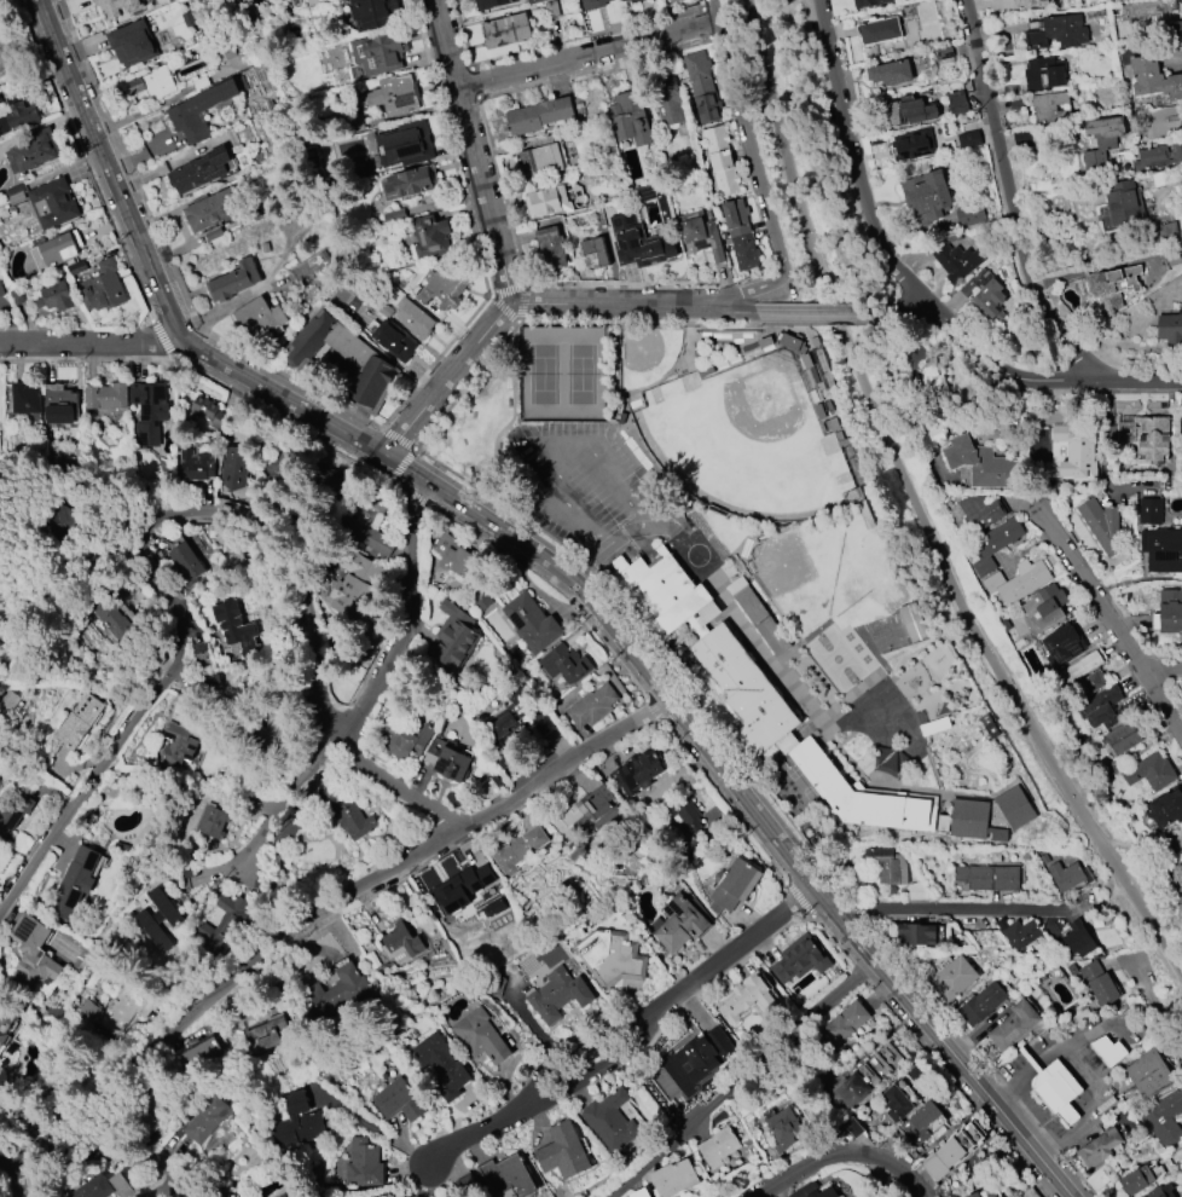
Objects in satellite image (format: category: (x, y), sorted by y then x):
building: (624, 0)
building: (1068, 0)
building: (533, 1)
building: (635, 1)
building: (674, 1)
building: (868, 2)
building: (1029, 2)
building: (491, 4)
building: (592, 4)
building: (1181, 4)
building: (117, 6)
building: (551, 8)
building: (372, 13)
road: (711, 15)
building: (1175, 28)
building: (505, 30)
road: (713, 30)
building: (880, 31)
road: (460, 33)
building: (1058, 33)
road: (585, 36)
building: (132, 44)
building: (224, 51)
building: (379, 51)
building: (6, 53)
building: (944, 53)
road: (589, 56)
building: (697, 70)
building: (888, 74)
building: (1044, 74)
building: (1152, 77)
road: (471, 81)
building: (152, 82)
building: (199, 82)
road: (497, 89)
building: (398, 94)
building: (665, 94)
building: (956, 103)
building: (707, 104)
building: (1049, 108)
building: (197, 111)
building: (904, 112)
building: (22, 115)
building: (539, 116)
building: (630, 117)
building: (1021, 138)
building: (968, 139)
building: (1100, 143)
building: (911, 144)
building: (404, 145)
building: (715, 145)
road: (451, 149)
road: (473, 149)
building: (33, 150)
building: (1158, 156)
road: (86, 160)
building: (540, 160)
road: (757, 160)
road: (856, 167)
building: (203, 170)
building: (725, 179)
building: (409, 183)
building: (926, 196)
building: (554, 199)
building: (52, 202)
road: (1008, 202)
building: (1124, 206)
building: (213, 209)
building: (969, 214)
building: (735, 218)
building: (701, 233)
building: (430, 236)
building: (639, 243)
building: (550, 248)
building: (56, 250)
building: (744, 251)
building: (593, 253)
road: (819, 259)
road: (168, 262)
building: (956, 262)
building: (75, 267)
building: (233, 281)
road: (627, 284)
road: (749, 287)
building: (1111, 287)
building: (102, 288)
road: (508, 291)
building: (440, 293)
building: (985, 295)
building: (54, 296)
road: (508, 300)
road: (725, 300)
road: (525, 302)
road: (731, 308)
road: (505, 310)
road: (817, 312)
road: (909, 312)
building: (257, 316)
building: (413, 318)
road: (911, 319)
road: (822, 322)
road: (602, 324)
road: (518, 325)
building: (1170, 328)
road: (796, 329)
road: (723, 330)
road: (728, 336)
road: (166, 340)
building: (394, 341)
building: (794, 341)
road: (92, 347)
road: (734, 348)
road: (974, 355)
park: (647, 358)
road: (89, 359)
building: (346, 359)
road: (438, 363)
road: (619, 363)
road: (676, 368)
road: (1009, 374)
park: (562, 375)
building: (933, 380)
road: (1142, 380)
road: (468, 388)
road: (1096, 391)
building: (106, 397)
building: (25, 398)
building: (59, 404)
road: (283, 405)
building: (149, 410)
building: (208, 412)
road: (517, 416)
road: (518, 416)
road: (285, 421)
building: (1181, 423)
building: (1145, 436)
road: (527, 438)
road: (400, 439)
road: (1107, 439)
road: (579, 441)
road: (612, 441)
park: (747, 444)
building: (1076, 451)
building: (960, 452)
building: (195, 464)
road: (405, 464)
building: (279, 465)
building: (234, 467)
building: (993, 469)
road: (462, 476)
building: (326, 485)
road: (400, 485)
parking lot: (589, 487)
road: (419, 498)
building: (1149, 510)
building: (979, 513)
road: (164, 517)
road: (1055, 520)
building: (367, 524)
building: (1101, 525)
building: (993, 543)
building: (1161, 549)
building: (451, 554)
building: (185, 560)
road: (590, 562)
park: (830, 574)
building: (1015, 580)
building: (353, 584)
road: (556, 585)
road: (615, 588)
road: (1101, 589)
building: (481, 601)
building: (1047, 606)
building: (1167, 612)
building: (112, 615)
building: (759, 615)
road: (410, 619)
building: (531, 623)
road: (1112, 624)
building: (237, 629)
building: (1, 632)
building: (453, 637)
building: (1060, 646)
road: (1166, 655)
road: (1146, 663)
building: (564, 664)
building: (1076, 669)
road: (1161, 669)
road: (83, 683)
building: (1085, 686)
building: (767, 700)
building: (8, 701)
building: (592, 705)
building: (1101, 707)
road: (657, 710)
road: (683, 711)
building: (516, 716)
building: (79, 719)
building: (935, 724)
road: (725, 735)
building: (1118, 739)
building: (405, 740)
road: (1038, 742)
building: (176, 745)
building: (450, 758)
building: (638, 773)
building: (1149, 773)
road: (729, 802)
road: (284, 804)
building: (1016, 808)
building: (1164, 808)
building: (589, 810)
building: (13, 811)
building: (685, 815)
building: (348, 816)
building: (972, 819)
building: (212, 821)
road: (799, 833)
building: (286, 834)
building: (516, 849)
road: (1136, 850)
road: (1172, 861)
building: (886, 864)
building: (1178, 867)
building: (1064, 875)
building: (985, 878)
building: (74, 883)
building: (732, 885)
building: (462, 889)
road: (1111, 892)
road: (801, 900)
road: (317, 907)
road: (854, 907)
building: (493, 908)
road: (948, 908)
road: (1082, 909)
building: (158, 918)
building: (224, 920)
building: (677, 924)
building: (919, 933)
building: (1020, 933)
building: (1078, 939)
road: (835, 941)
building: (400, 944)
road: (753, 952)
road: (864, 952)
building: (33, 953)
building: (610, 956)
building: (800, 959)
road: (862, 972)
building: (952, 977)
building: (1095, 982)
building: (338, 993)
building: (557, 994)
road: (927, 995)
building: (746, 996)
road: (1157, 1002)
building: (981, 1004)
building: (118, 1007)
building: (842, 1022)
building: (5, 1023)
building: (1013, 1025)
building: (266, 1034)
building: (481, 1036)
road: (627, 1040)
road: (922, 1043)
building: (1107, 1051)
building: (198, 1052)
building: (442, 1066)
road: (1025, 1071)
building: (1148, 1074)
building: (864, 1077)
road: (743, 1080)
road: (1085, 1080)
building: (1056, 1091)
building: (900, 1094)
building: (399, 1100)
road: (1024, 1112)
building: (208, 1118)
building: (1164, 1118)
building: (608, 1120)
building: (921, 1122)
building: (297, 1123)
road: (375, 1128)
building: (782, 1128)
building: (718, 1147)
building: (1099, 1149)
building: (562, 1151)
building: (950, 1151)
road: (1009, 1152)
road: (847, 1155)
road: (129, 1157)
building: (363, 1163)
road: (1078, 1174)
building: (1102, 1175)
building: (506, 1176)
building: (672, 1178)
building: (1138, 1179)
road: (422, 1181)
road: (7, 1182)
road: (198, 1182)
building: (102, 1186)
building: (816, 1190)
building: (1161, 1191)
building: (638, 1192)
building: (987, 1192)
building: (282, 1195)
building: (274, 1196)
building: (388, 1196)

